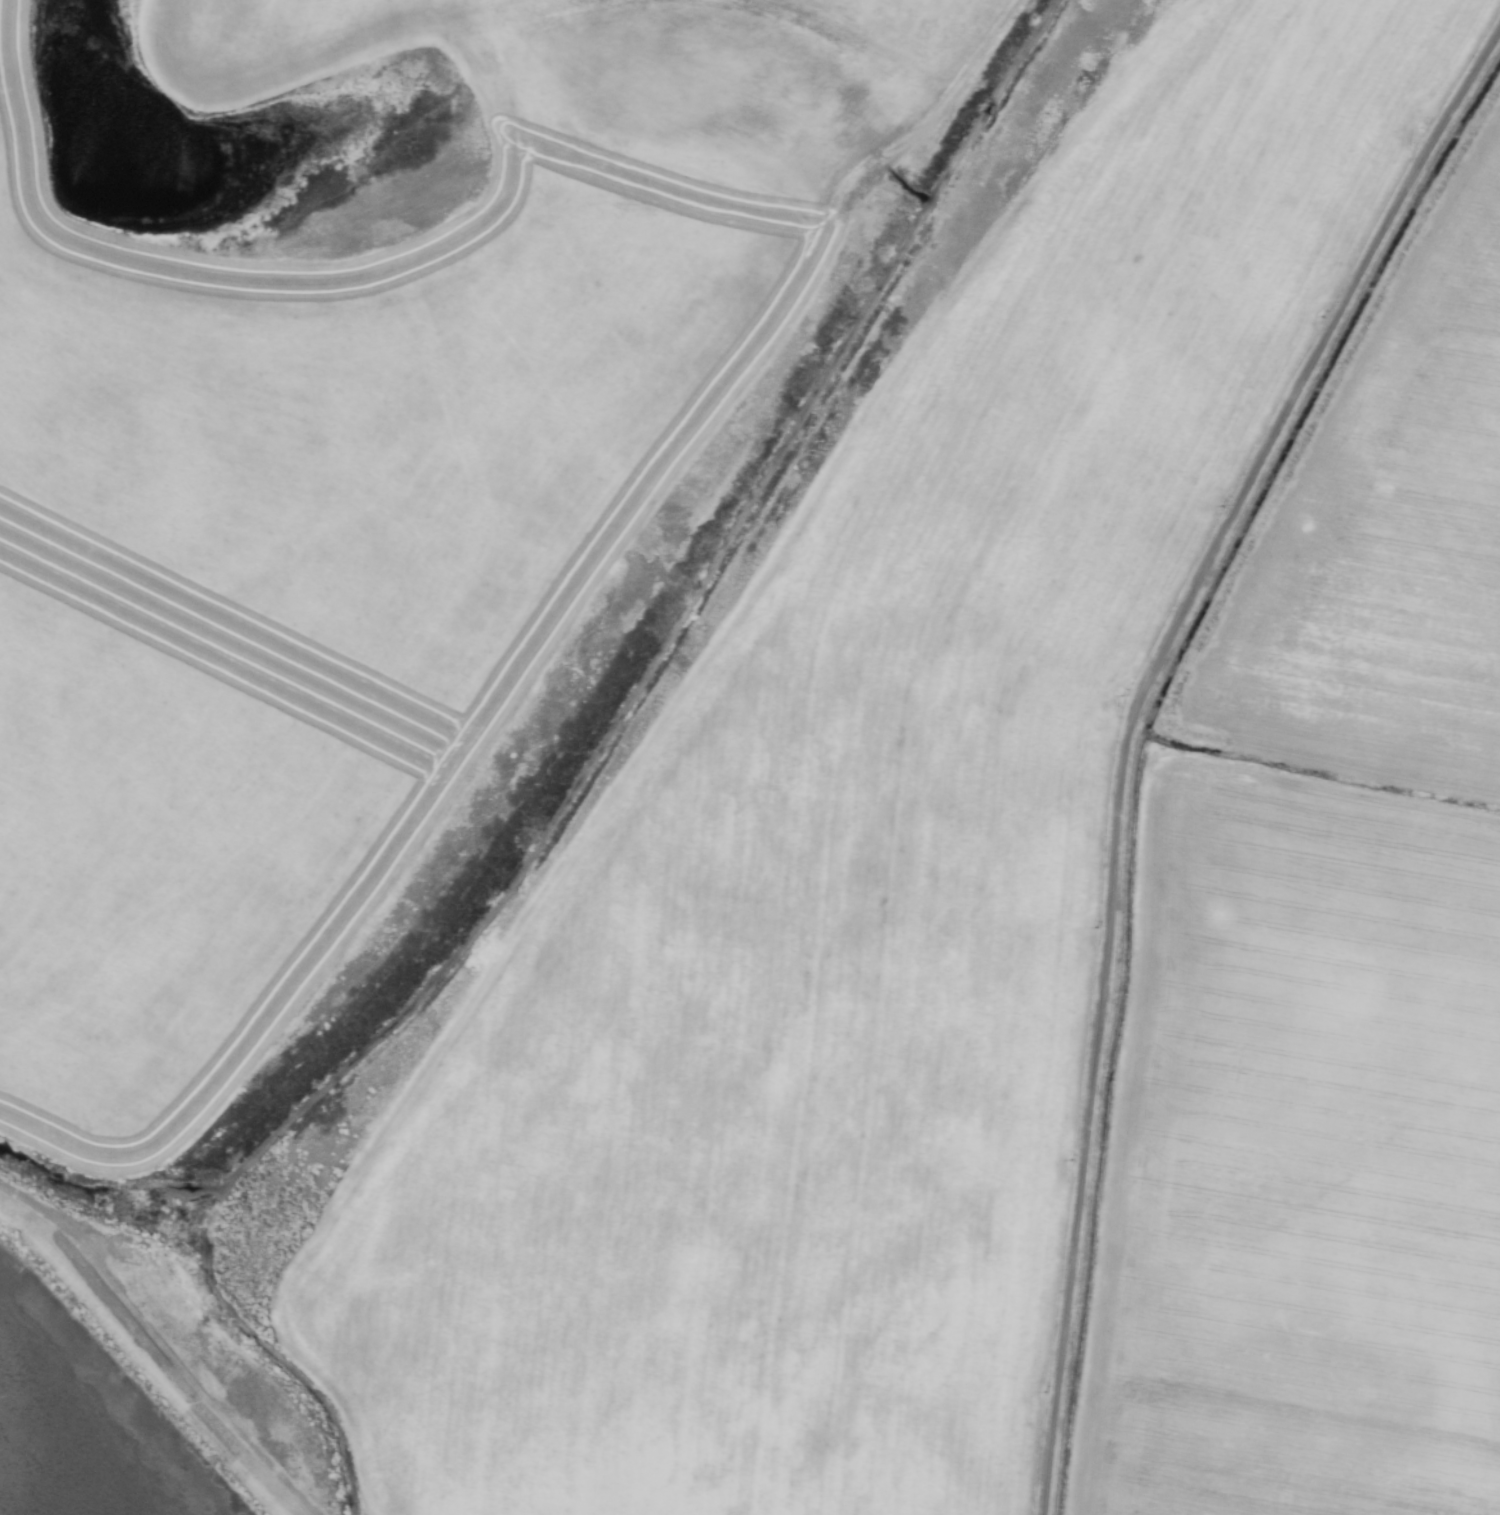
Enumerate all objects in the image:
road: (1130, 730)

